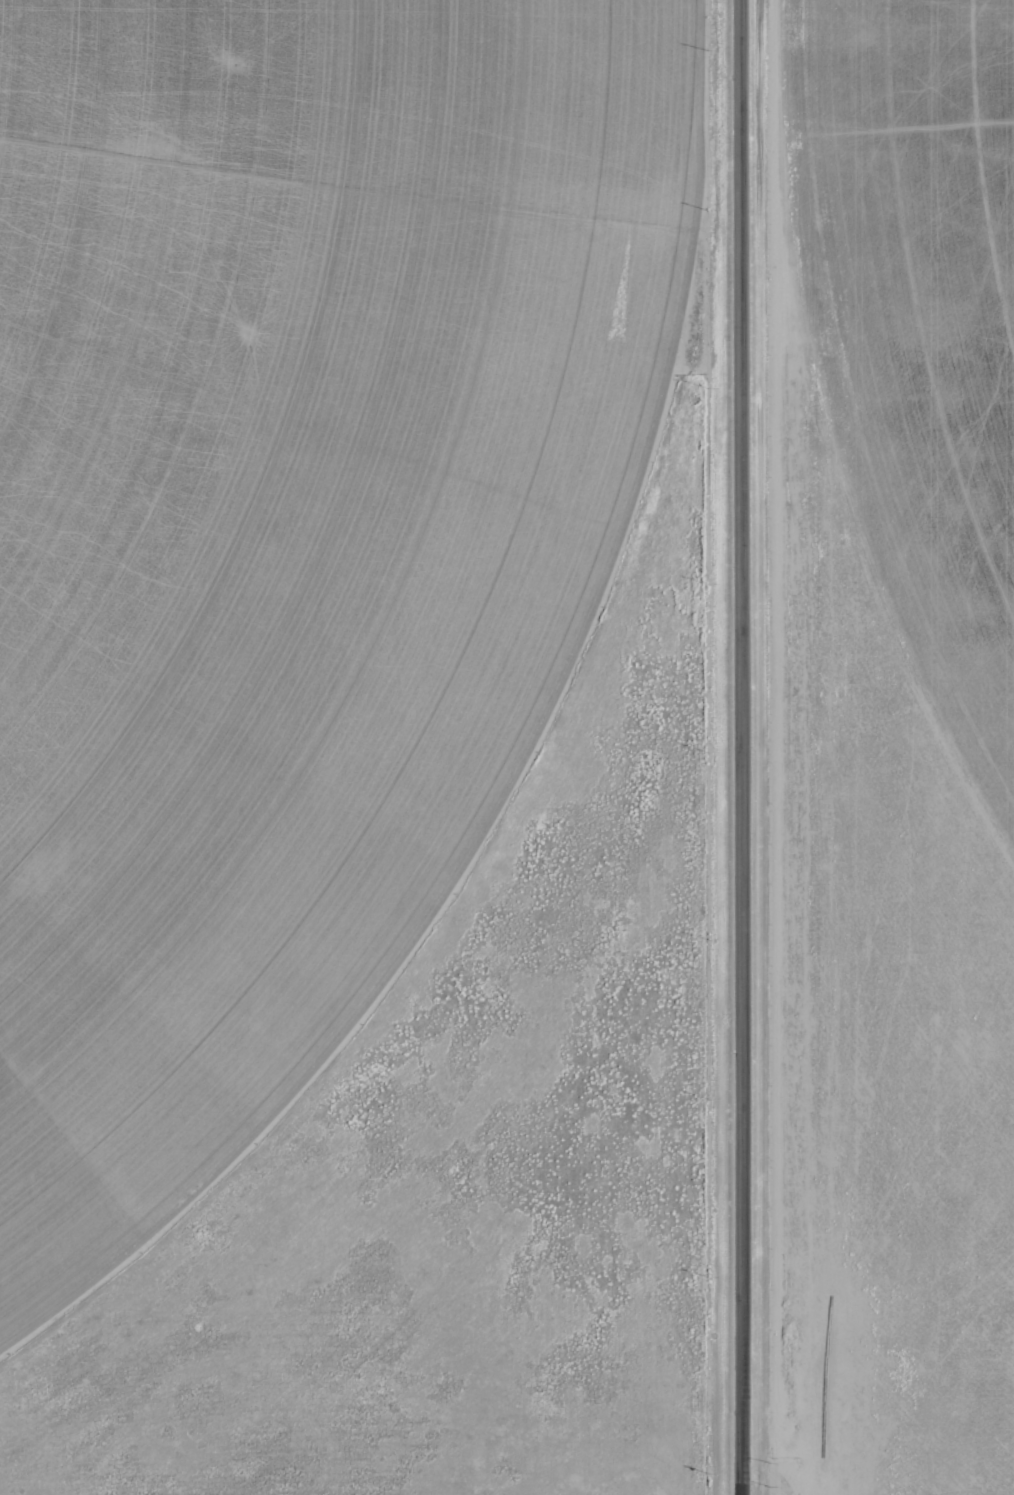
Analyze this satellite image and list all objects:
road: (741, 747)

